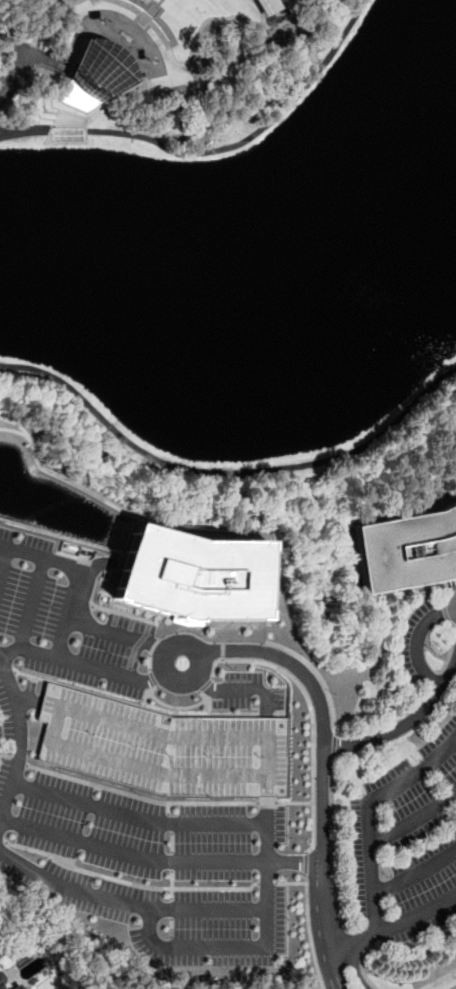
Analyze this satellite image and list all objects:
building: (268, 6)
park: (154, 64)
building: (149, 72)
road: (13, 74)
building: (97, 75)
road: (214, 151)
park: (249, 265)
road: (227, 472)
building: (406, 549)
road: (4, 561)
road: (83, 572)
building: (192, 575)
road: (30, 603)
road: (450, 608)
road: (120, 634)
road: (238, 638)
road: (411, 643)
parking lot: (416, 646)
road: (167, 653)
road: (83, 664)
road: (291, 667)
road: (244, 690)
road: (26, 697)
road: (310, 714)
road: (17, 735)
building: (162, 746)
parking garage: (162, 746)
road: (323, 766)
road: (396, 787)
road: (139, 796)
road: (267, 802)
road: (295, 802)
road: (135, 816)
road: (375, 843)
parking lot: (405, 843)
road: (159, 859)
road: (304, 863)
road: (414, 874)
road: (289, 882)
road: (128, 883)
road: (265, 883)
road: (126, 903)
road: (416, 917)
road: (309, 931)
road: (357, 944)
road: (267, 945)
road: (361, 963)
road: (353, 969)
road: (334, 971)
building: (2, 984)
road: (452, 987)
building: (14, 988)

